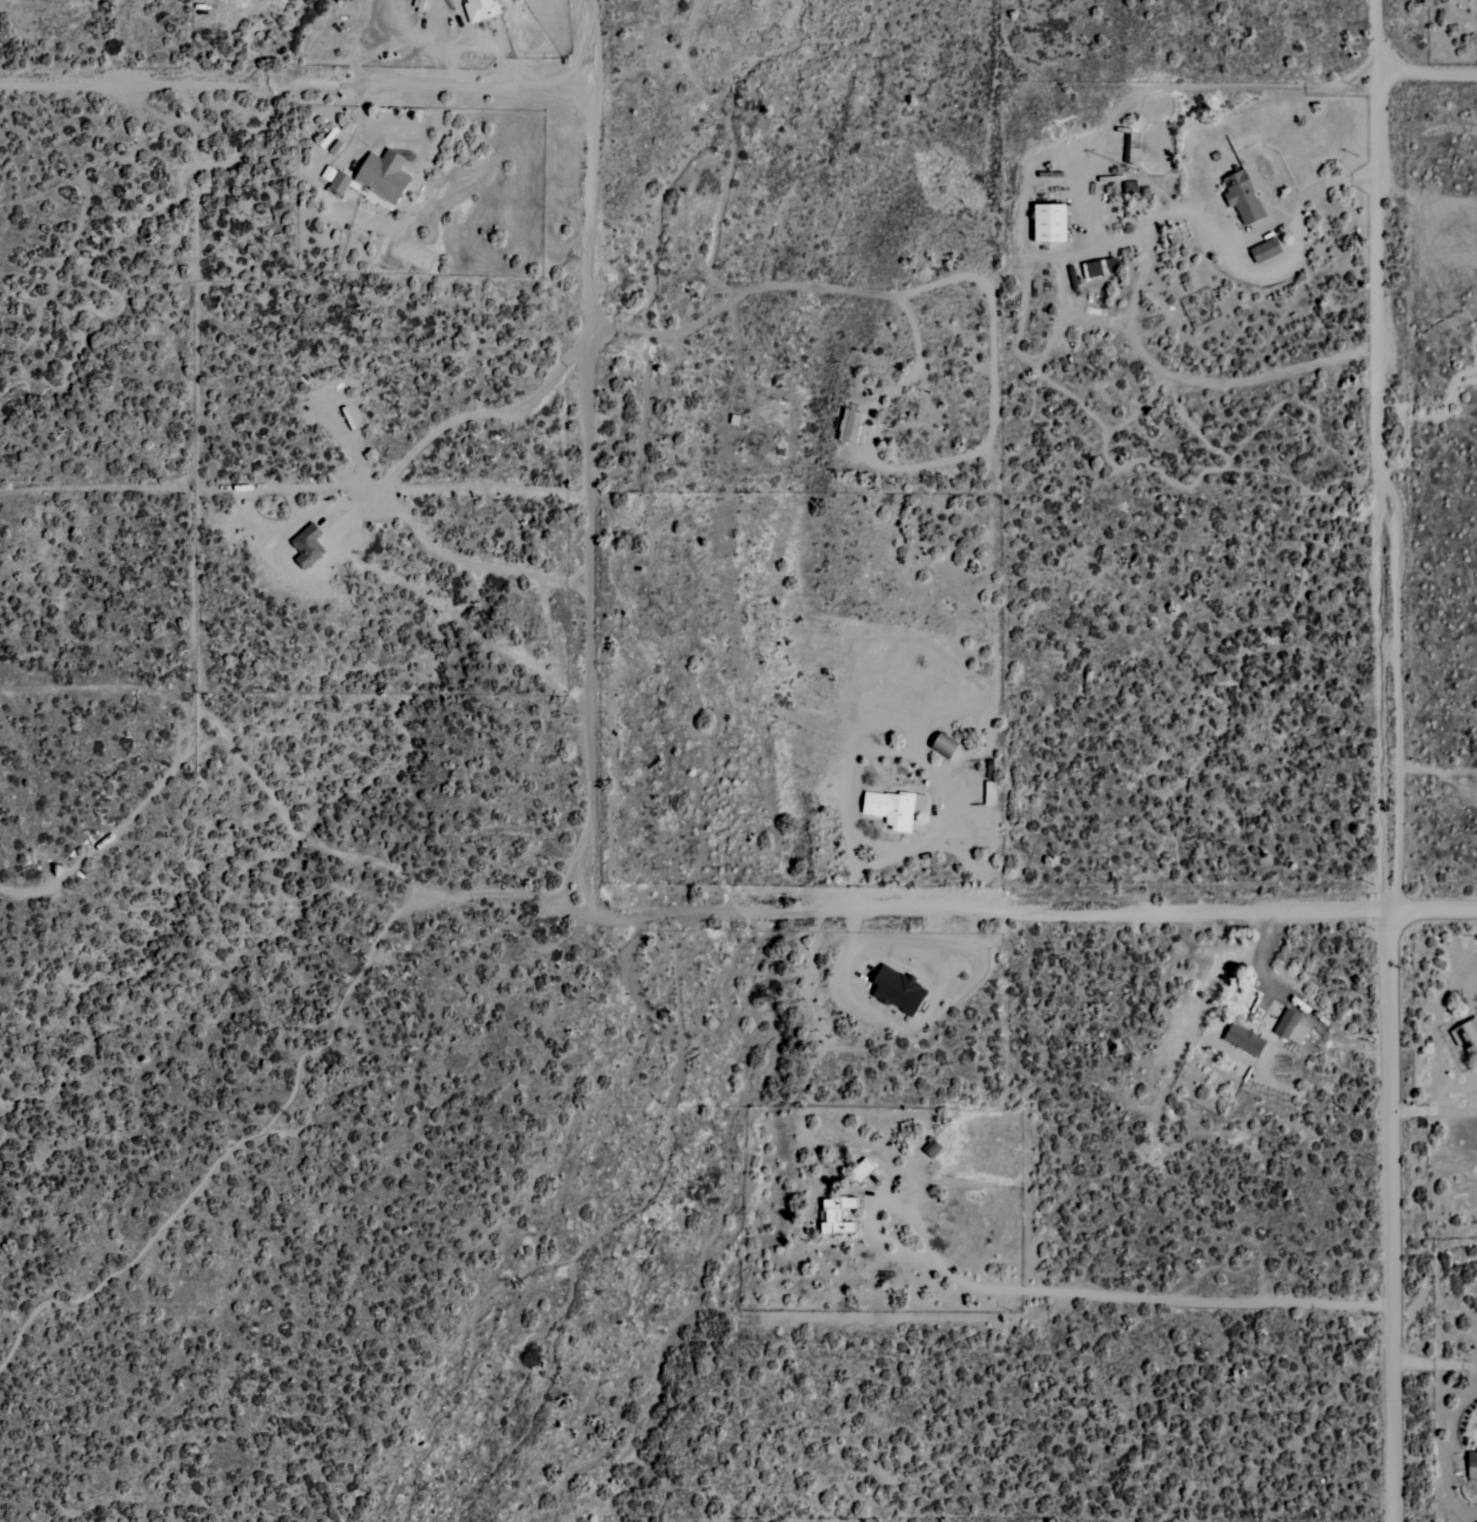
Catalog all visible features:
building: (481, 10)
road: (1427, 72)
road: (296, 85)
road: (731, 147)
building: (329, 175)
building: (381, 179)
building: (340, 183)
building: (1242, 197)
road: (1271, 221)
building: (1049, 223)
road: (1087, 229)
building: (1265, 251)
building: (1099, 268)
road: (881, 396)
building: (851, 427)
road: (1379, 455)
road: (590, 457)
road: (389, 481)
road: (918, 752)
building: (989, 793)
building: (893, 808)
road: (907, 910)
road: (1435, 910)
road: (1263, 958)
building: (1291, 1026)
building: (1466, 1036)
road: (1438, 1107)
building: (861, 1170)
building: (836, 1216)
road: (1394, 1216)
road: (1118, 1294)
road: (1435, 1366)
building: (1472, 1463)

